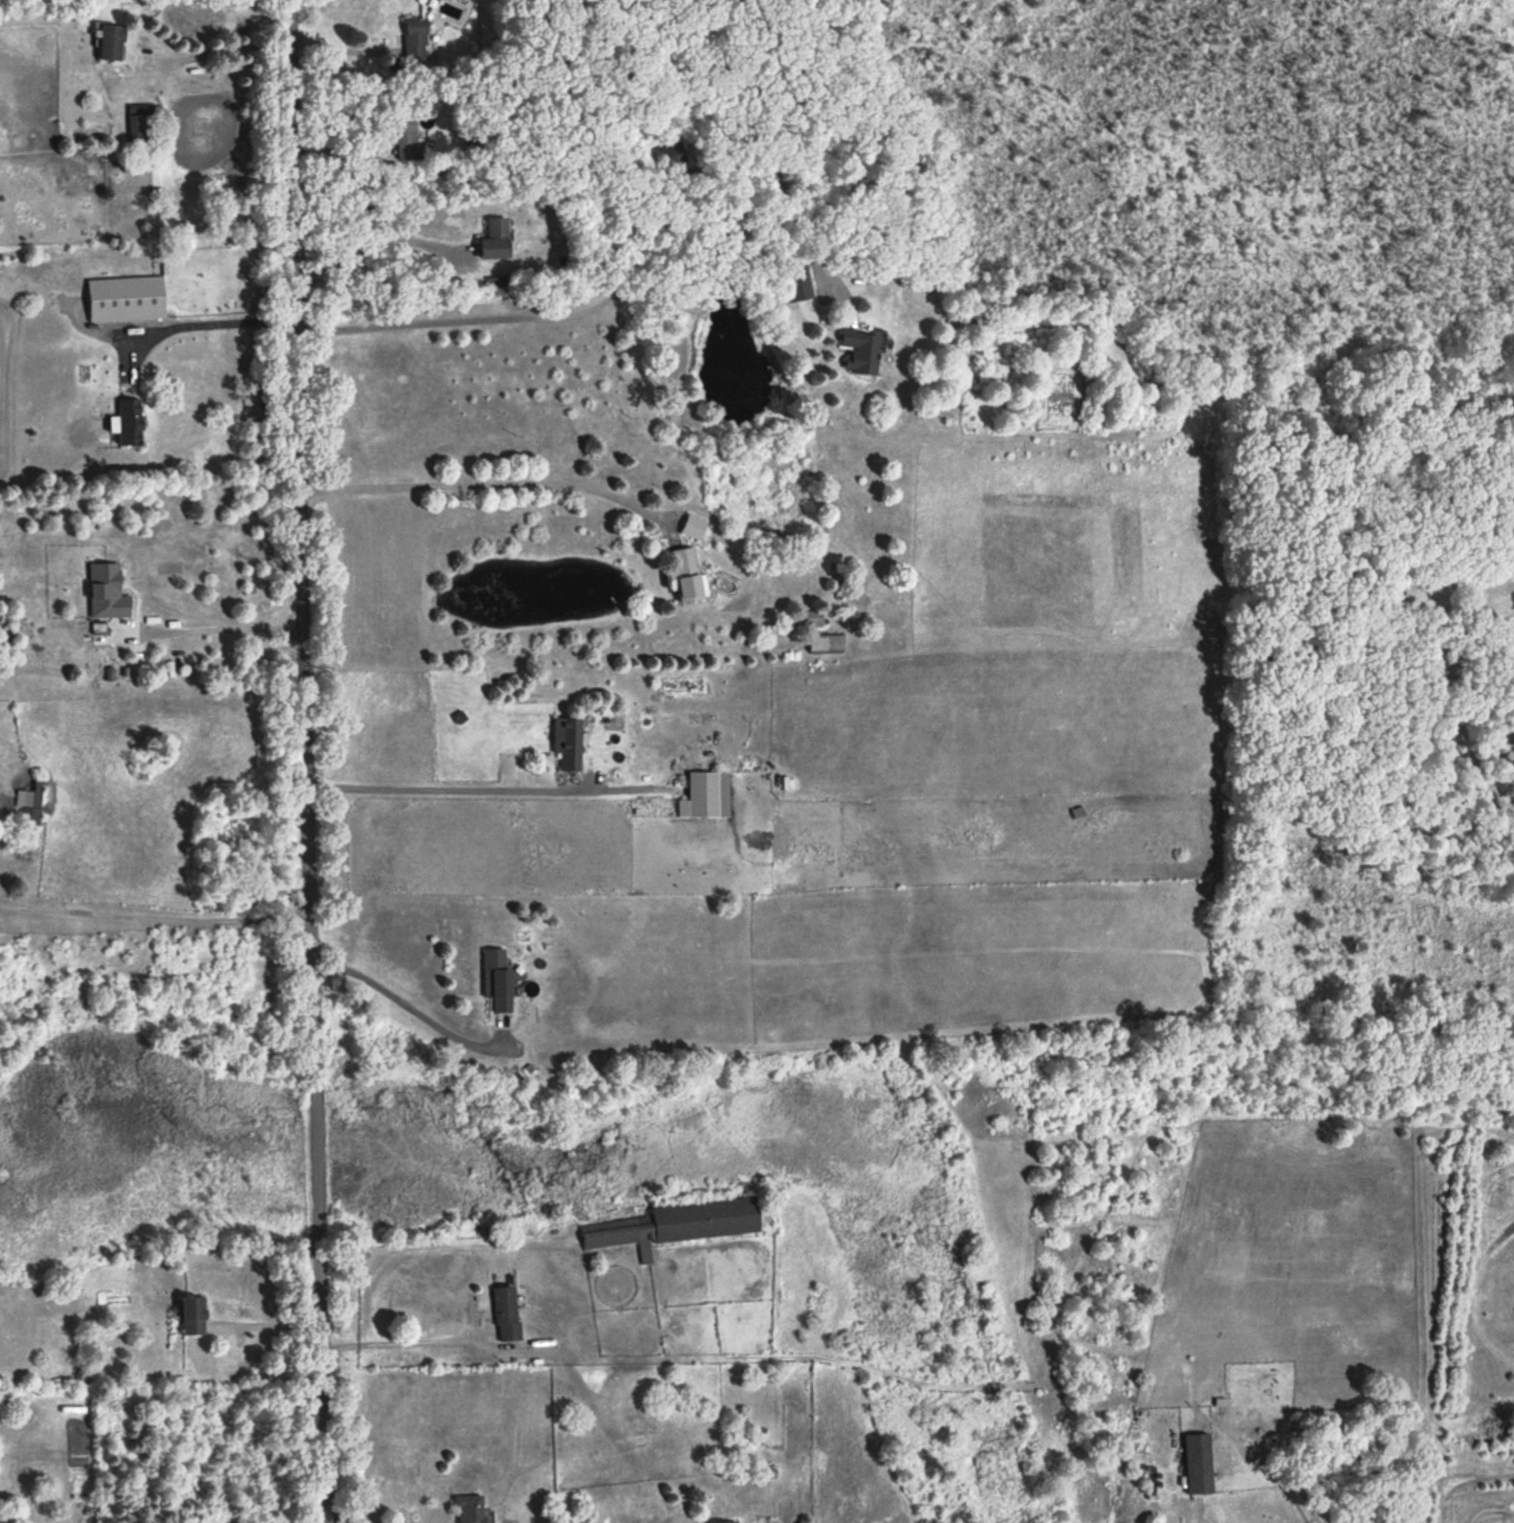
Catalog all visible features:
building: (413, 39)
building: (109, 41)
road: (339, 46)
road: (221, 51)
building: (139, 124)
building: (403, 137)
building: (491, 238)
road: (372, 247)
road: (621, 280)
building: (793, 280)
building: (122, 297)
road: (199, 320)
building: (857, 350)
building: (125, 420)
road: (482, 483)
building: (690, 525)
building: (680, 573)
road: (213, 626)
building: (565, 741)
road: (306, 761)
road: (483, 788)
building: (703, 794)
building: (31, 806)
road: (154, 909)
building: (493, 976)
road: (409, 1006)
building: (671, 1223)
building: (503, 1311)
building: (187, 1313)
road: (269, 1324)
road: (400, 1340)
building: (1195, 1462)
building: (465, 1508)
building: (720, 1521)

